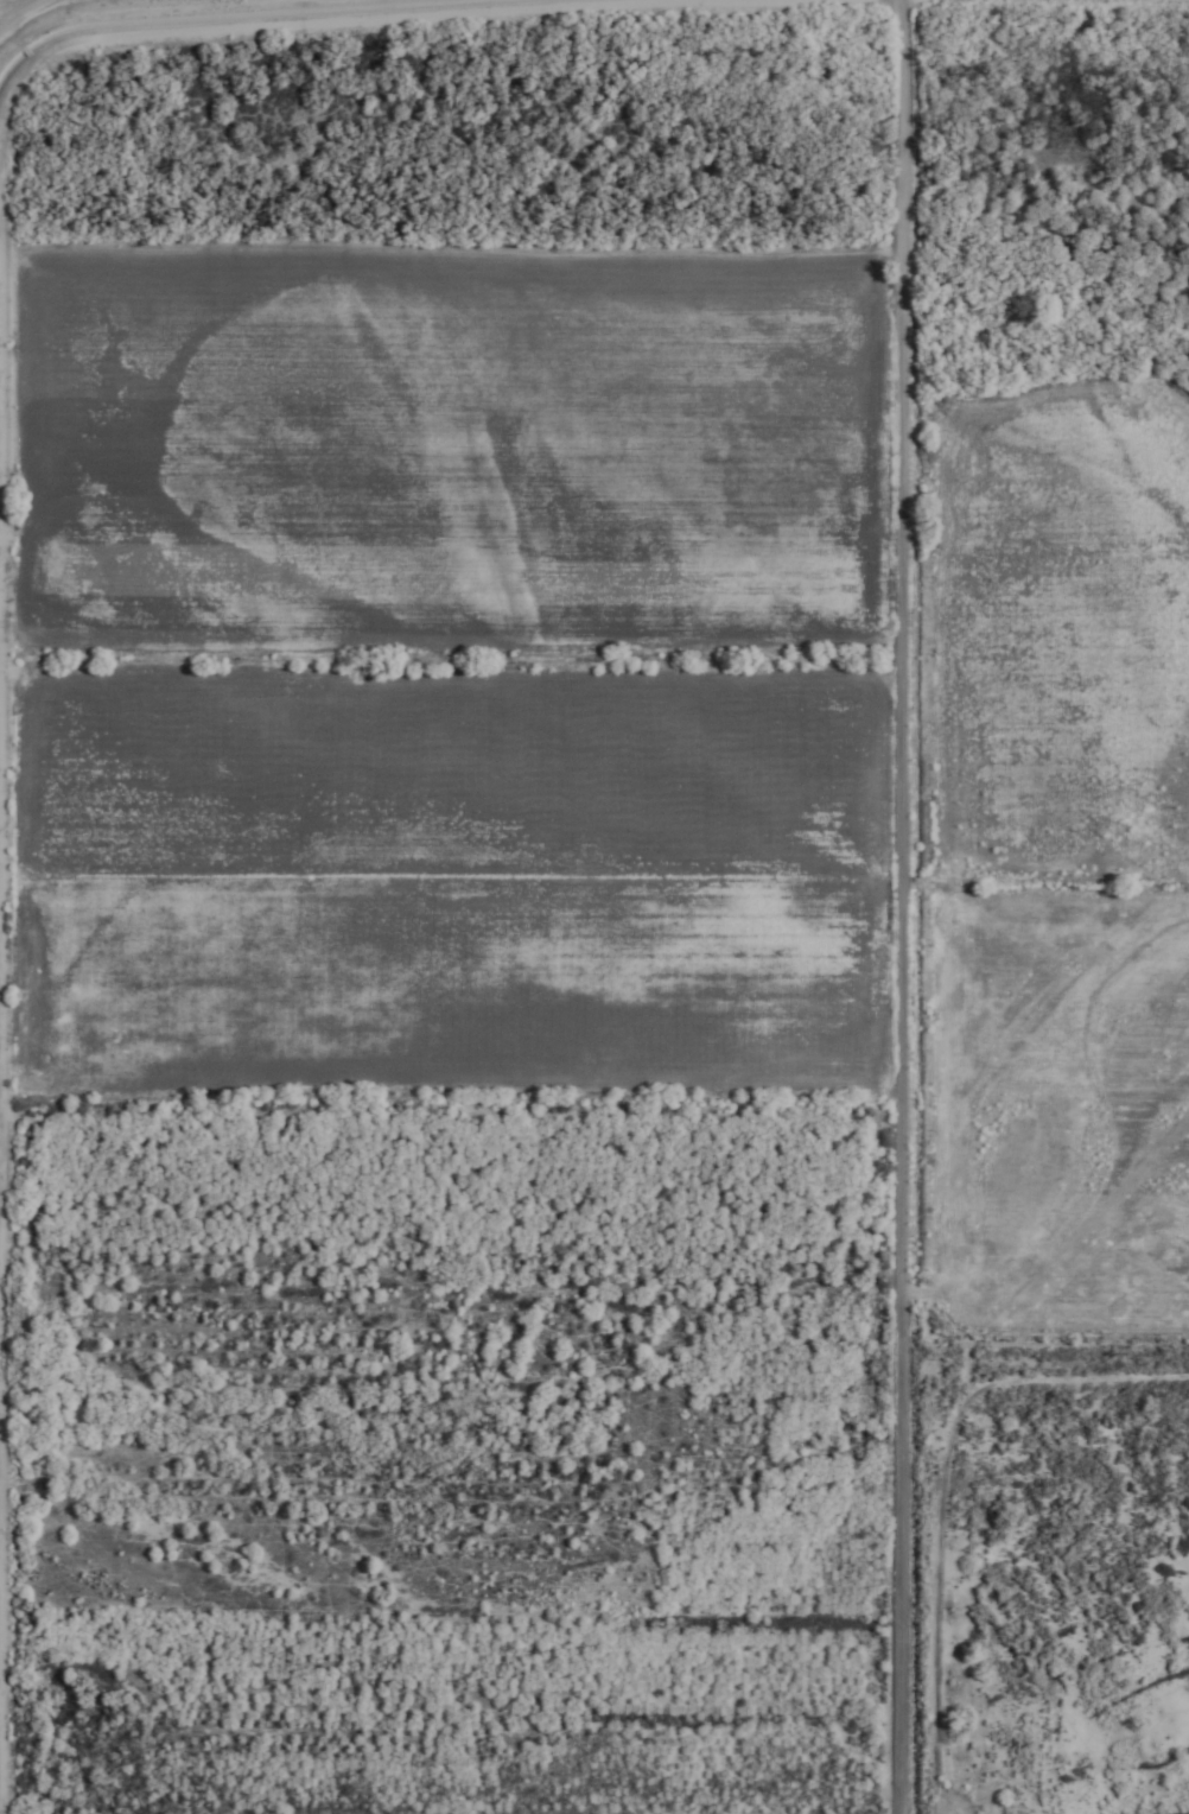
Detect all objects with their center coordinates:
road: (152, 9)

